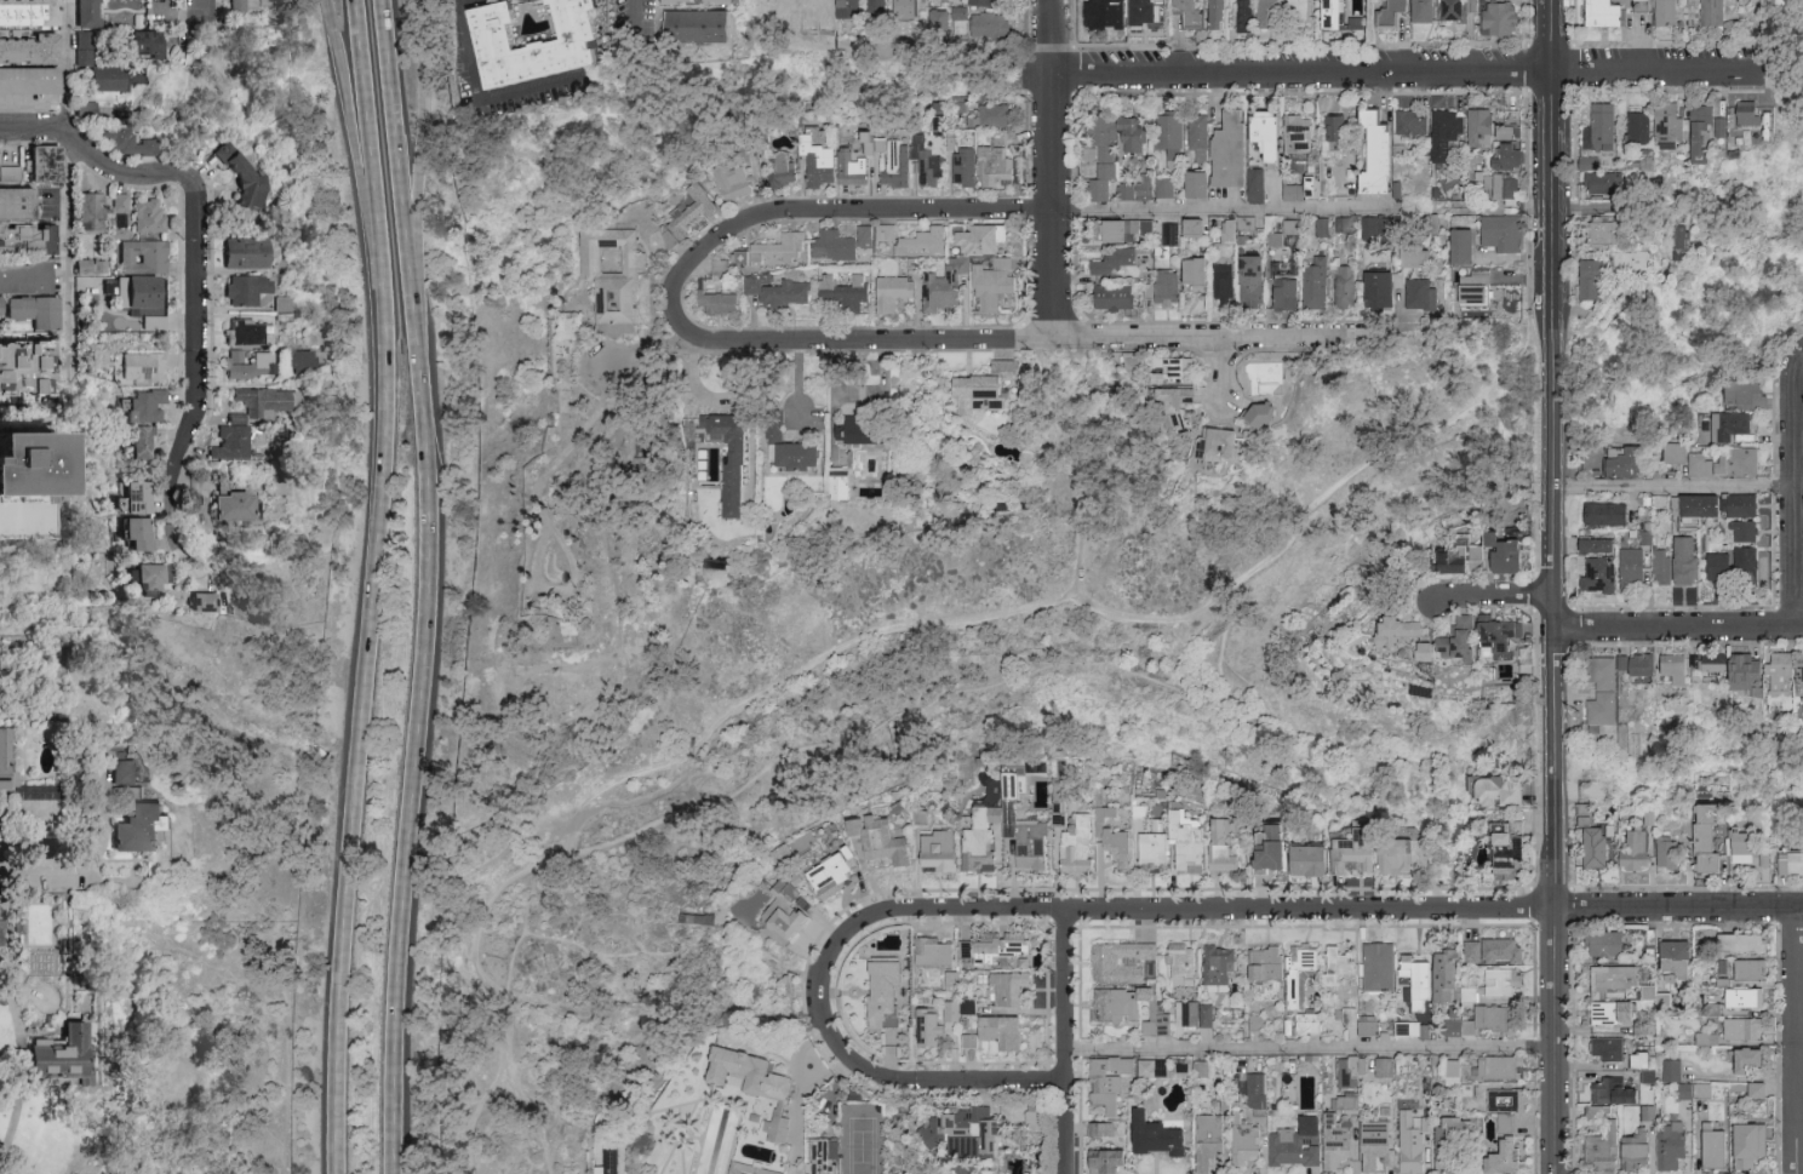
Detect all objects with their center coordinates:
building: (692, 1)
building: (988, 1)
building: (251, 4)
building: (852, 8)
building: (880, 8)
building: (908, 8)
building: (1454, 10)
road: (202, 11)
road: (636, 11)
building: (1111, 11)
building: (1145, 11)
building: (1425, 11)
building: (30, 12)
building: (961, 12)
building: (1195, 12)
building: (1301, 12)
building: (1608, 12)
building: (1669, 12)
building: (1716, 12)
building: (90, 13)
building: (1221, 13)
building: (1271, 13)
building: (1396, 13)
building: (1338, 15)
building: (1247, 16)
building: (1501, 18)
building: (941, 21)
building: (1358, 22)
building: (992, 24)
building: (706, 25)
building: (150, 42)
building: (85, 47)
building: (33, 48)
road: (65, 63)
road: (1346, 68)
building: (116, 76)
building: (32, 80)
road: (494, 93)
road: (1551, 103)
building: (960, 105)
building: (1750, 111)
building: (995, 115)
building: (1414, 121)
building: (1673, 125)
building: (1483, 126)
building: (1642, 126)
building: (1603, 127)
building: (1201, 131)
building: (1338, 131)
building: (1512, 131)
building: (1710, 131)
building: (1273, 132)
building: (1301, 132)
building: (1135, 133)
building: (1448, 134)
building: (1173, 136)
building: (128, 141)
road: (394, 142)
road: (420, 142)
building: (872, 143)
road: (354, 147)
road: (371, 147)
building: (1381, 154)
building: (1101, 155)
road: (99, 156)
building: (1512, 156)
building: (997, 160)
building: (1244, 160)
building: (915, 162)
building: (1590, 162)
building: (50, 164)
building: (822, 165)
building: (967, 166)
building: (784, 168)
building: (855, 168)
road: (1054, 168)
building: (10, 171)
building: (246, 174)
building: (735, 179)
building: (1604, 182)
building: (1202, 184)
building: (1166, 187)
building: (1501, 187)
building: (1138, 188)
building: (1305, 188)
building: (19, 202)
road: (1223, 207)
road: (1595, 207)
building: (696, 208)
road: (814, 208)
road: (1518, 208)
building: (92, 212)
building: (120, 214)
building: (149, 216)
building: (1292, 225)
building: (1197, 227)
building: (1378, 228)
building: (1126, 229)
building: (1622, 229)
building: (888, 231)
building: (1502, 231)
building: (1172, 233)
building: (1229, 234)
building: (28, 237)
building: (1276, 237)
building: (984, 240)
building: (843, 242)
building: (926, 242)
building: (1420, 246)
building: (1465, 246)
road: (65, 247)
building: (780, 248)
building: (250, 252)
building: (144, 256)
building: (1630, 258)
building: (1127, 260)
building: (92, 265)
building: (1201, 271)
building: (618, 275)
building: (27, 279)
building: (1592, 279)
building: (1226, 281)
building: (1255, 281)
building: (1345, 281)
building: (946, 284)
building: (996, 284)
building: (1317, 284)
building: (830, 286)
building: (1169, 286)
building: (1475, 287)
building: (250, 288)
building: (780, 288)
building: (1150, 288)
building: (1383, 288)
building: (1289, 292)
building: (1420, 292)
building: (142, 293)
building: (855, 293)
building: (1117, 297)
building: (719, 299)
building: (1, 308)
building: (38, 310)
building: (151, 323)
building: (247, 332)
road: (1063, 336)
road: (1551, 347)
road: (1799, 347)
building: (304, 357)
building: (253, 363)
road: (193, 365)
building: (139, 368)
building: (660, 368)
road: (1227, 368)
building: (29, 370)
building: (1177, 370)
building: (1264, 372)
building: (990, 388)
building: (1736, 389)
building: (269, 400)
building: (148, 403)
building: (1174, 403)
building: (1264, 413)
building: (1725, 424)
building: (864, 429)
building: (234, 437)
building: (143, 441)
road: (1378, 443)
building: (1221, 445)
building: (1671, 451)
building: (803, 456)
building: (735, 458)
building: (1739, 459)
building: (1608, 462)
building: (1701, 463)
building: (25, 465)
road: (1675, 486)
road: (1797, 486)
road: (1801, 487)
building: (138, 496)
building: (1712, 503)
building: (237, 506)
building: (1759, 510)
building: (1602, 512)
road: (15, 528)
building: (1740, 529)
building: (141, 532)
building: (1592, 544)
building: (1512, 552)
road: (1552, 555)
building: (1466, 556)
building: (1682, 559)
road: (182, 563)
building: (1659, 565)
building: (1712, 565)
building: (1739, 565)
building: (1629, 567)
building: (1596, 573)
building: (153, 577)
road: (1487, 594)
building: (208, 602)
road: (1146, 619)
road: (1678, 625)
road: (1229, 626)
building: (1403, 631)
building: (1504, 636)
building: (1464, 640)
building: (1433, 651)
building: (1632, 666)
building: (1667, 666)
building: (1723, 666)
building: (1771, 674)
building: (1796, 675)
park: (988, 683)
building: (1599, 692)
road: (752, 698)
road: (905, 714)
road: (414, 728)
road: (1386, 729)
road: (361, 733)
building: (5, 762)
road: (1552, 766)
building: (1037, 768)
building: (125, 773)
building: (1488, 788)
building: (142, 829)
building: (1009, 830)
building: (885, 837)
building: (1698, 837)
building: (1191, 838)
building: (1501, 838)
building: (1746, 842)
building: (1121, 844)
building: (1158, 846)
building: (1227, 846)
building: (1276, 846)
building: (1587, 846)
building: (1355, 848)
building: (944, 849)
building: (1627, 849)
building: (1403, 851)
building: (1662, 852)
road: (84, 858)
building: (1311, 859)
building: (1788, 863)
building: (1501, 870)
building: (836, 872)
road: (1433, 906)
building: (791, 909)
building: (2, 930)
building: (1734, 943)
road: (471, 947)
building: (967, 949)
building: (1007, 949)
building: (1492, 949)
road: (594, 950)
building: (935, 951)
building: (1123, 960)
building: (1667, 960)
building: (1269, 962)
building: (1185, 963)
building: (1341, 963)
building: (1220, 964)
building: (1381, 964)
building: (1744, 968)
building: (1447, 973)
building: (1303, 974)
building: (1610, 975)
building: (1420, 978)
building: (1505, 980)
building: (1009, 986)
building: (888, 990)
road: (825, 996)
building: (1740, 997)
building: (1117, 1003)
building: (969, 1006)
building: (952, 1009)
building: (1189, 1012)
building: (1608, 1012)
building: (1208, 1014)
building: (1495, 1015)
building: (1160, 1018)
building: (1311, 1023)
building: (1369, 1024)
building: (932, 1026)
building: (1459, 1026)
building: (1410, 1027)
building: (1738, 1027)
road: (775, 1029)
building: (1006, 1030)
building: (1704, 1037)
building: (973, 1040)
road: (1551, 1040)
road: (1797, 1040)
road: (1066, 1042)
park: (185, 1046)
building: (1603, 1047)
road: (1309, 1049)
building: (62, 1054)
building: (1632, 1059)
building: (1738, 1059)
building: (1360, 1065)
building: (1386, 1066)
building: (1500, 1066)
building: (1151, 1067)
building: (1202, 1067)
road: (19, 1070)
building: (1669, 1070)
building: (1110, 1079)
building: (752, 1088)
building: (1751, 1088)
building: (1259, 1089)
building: (1690, 1089)
building: (1608, 1090)
building: (1351, 1103)
building: (1507, 1105)
building: (1644, 1111)
road: (475, 1113)
building: (1037, 1117)
building: (975, 1128)
building: (1103, 1128)
building: (1162, 1134)
building: (1212, 1140)
building: (1340, 1140)
building: (1414, 1140)
building: (1249, 1142)
building: (1300, 1142)
building: (1455, 1142)
building: (1742, 1144)
building: (1379, 1145)
building: (1598, 1145)
building: (1667, 1145)
building: (1707, 1146)
building: (1509, 1155)
building: (824, 1156)
building: (611, 1161)
building: (1109, 1161)
building: (755, 1168)
building: (1034, 1172)

